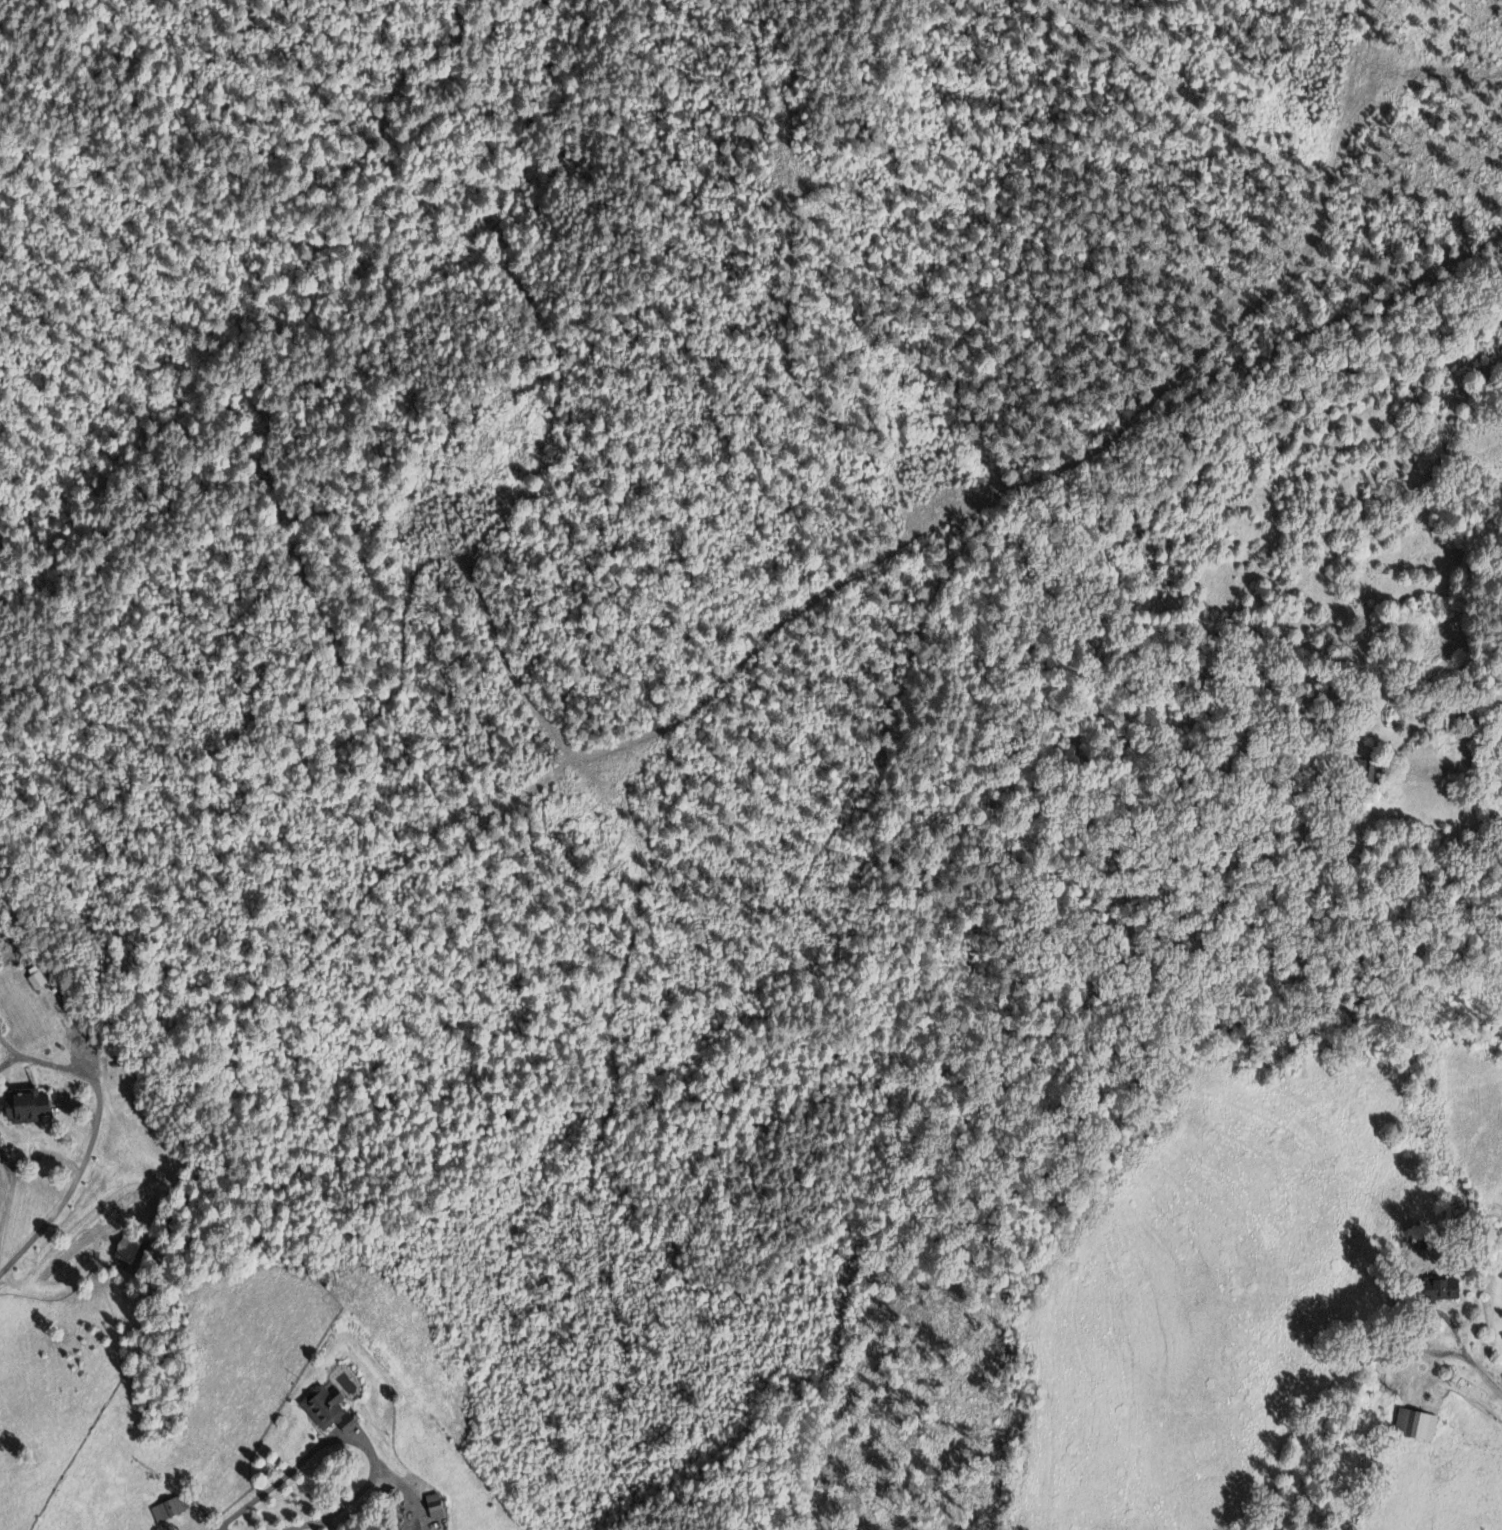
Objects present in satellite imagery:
building: (40, 980)
road: (6, 1049)
road: (85, 1062)
road: (45, 1063)
building: (30, 1108)
road: (8, 1165)
road: (16, 1176)
road: (58, 1210)
building: (130, 1249)
building: (1452, 1290)
road: (1460, 1355)
building: (332, 1408)
building: (1419, 1424)
road: (330, 1441)
road: (353, 1498)
building: (438, 1506)
building: (171, 1509)
road: (324, 1526)
road: (306, 1527)

